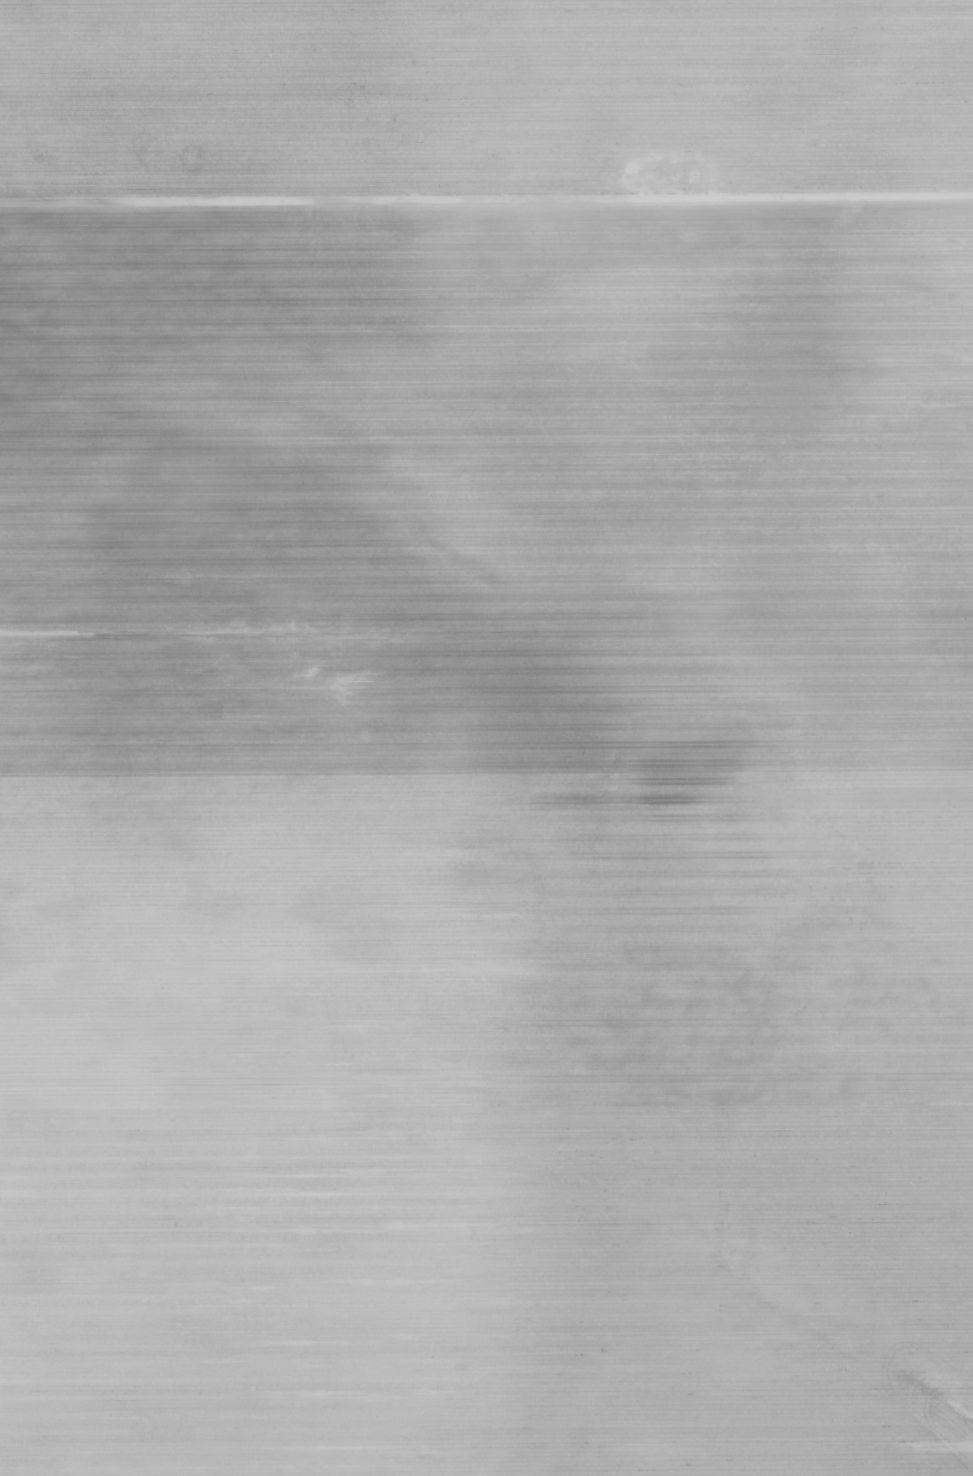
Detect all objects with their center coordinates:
road: (824, 192)

